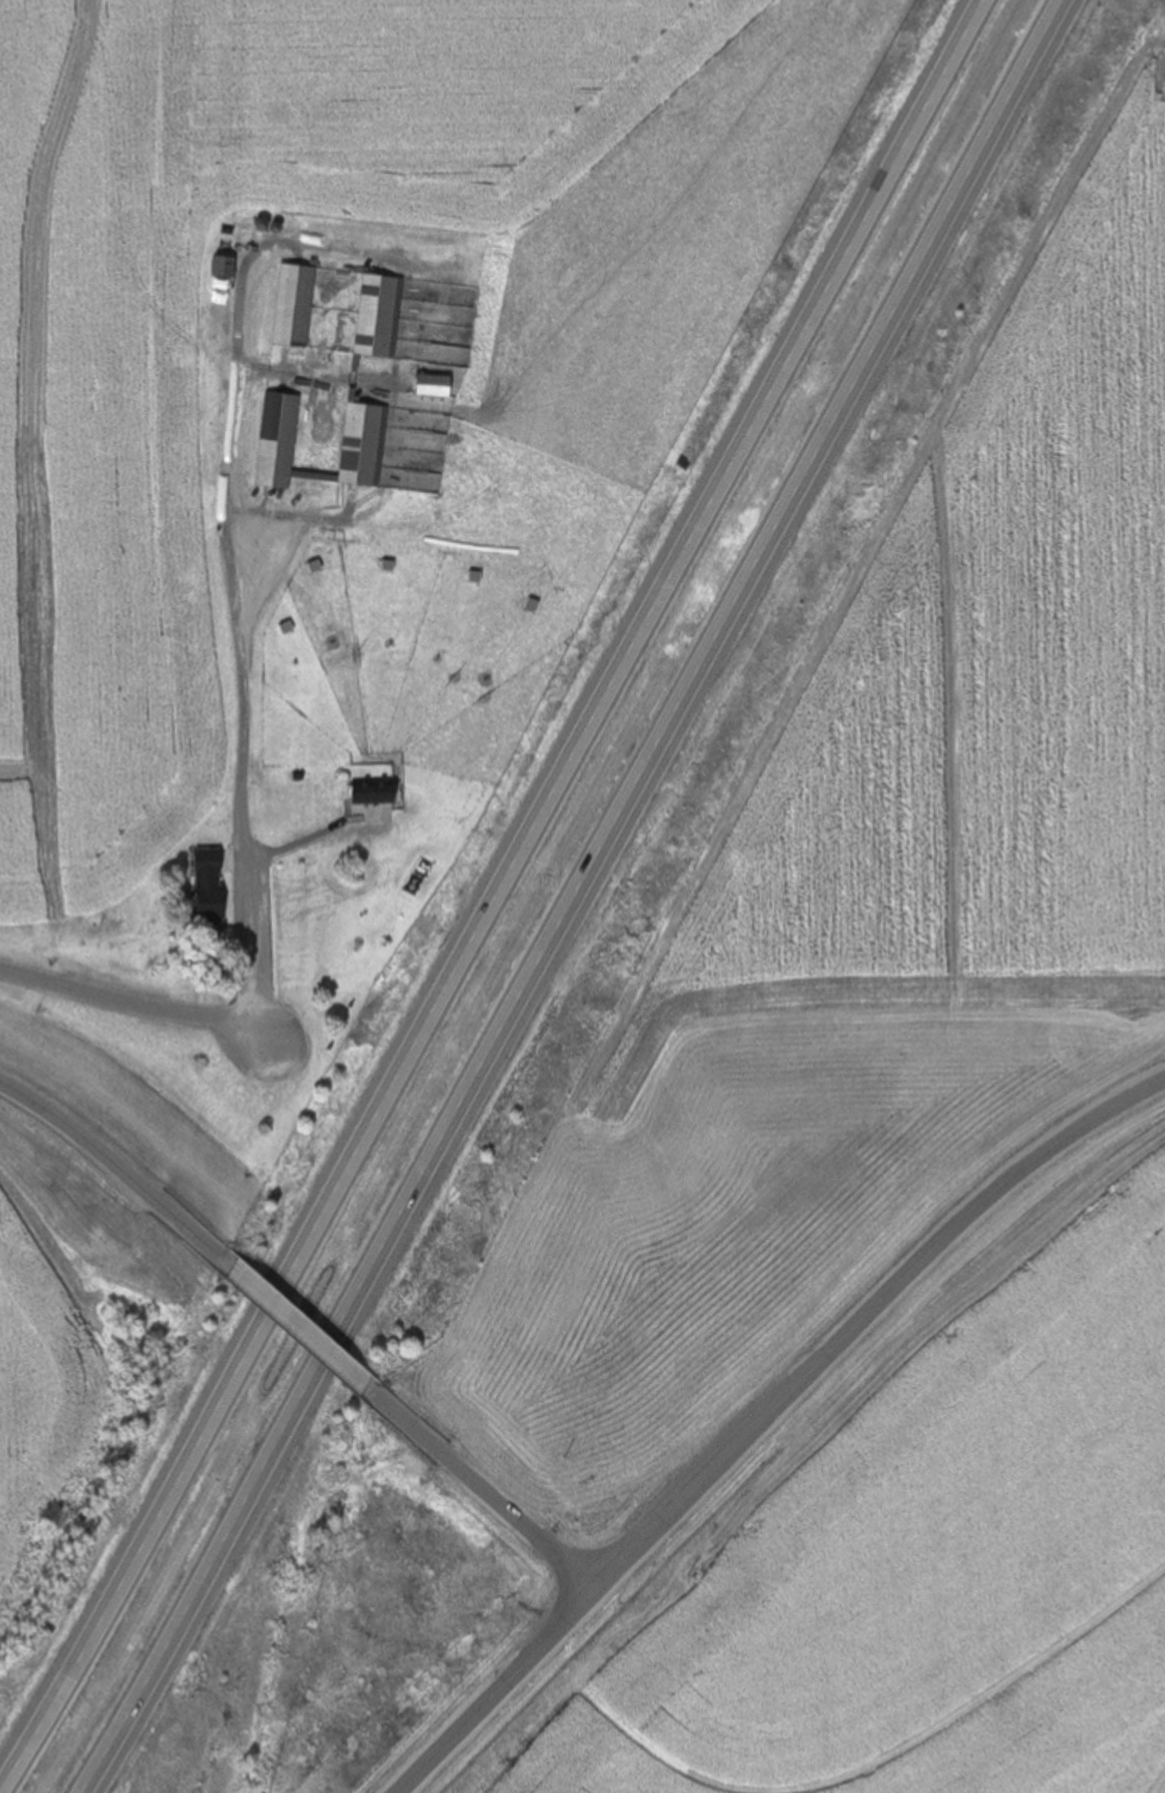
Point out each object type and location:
building: (225, 268)
building: (296, 307)
building: (378, 317)
building: (435, 385)
building: (278, 440)
building: (364, 444)
road: (236, 554)
building: (377, 795)
building: (213, 865)
road: (491, 888)
road: (584, 898)
building: (211, 908)
road: (136, 1008)
road: (123, 1180)
road: (857, 1307)
road: (304, 1340)
road: (481, 1495)
road: (496, 1693)

